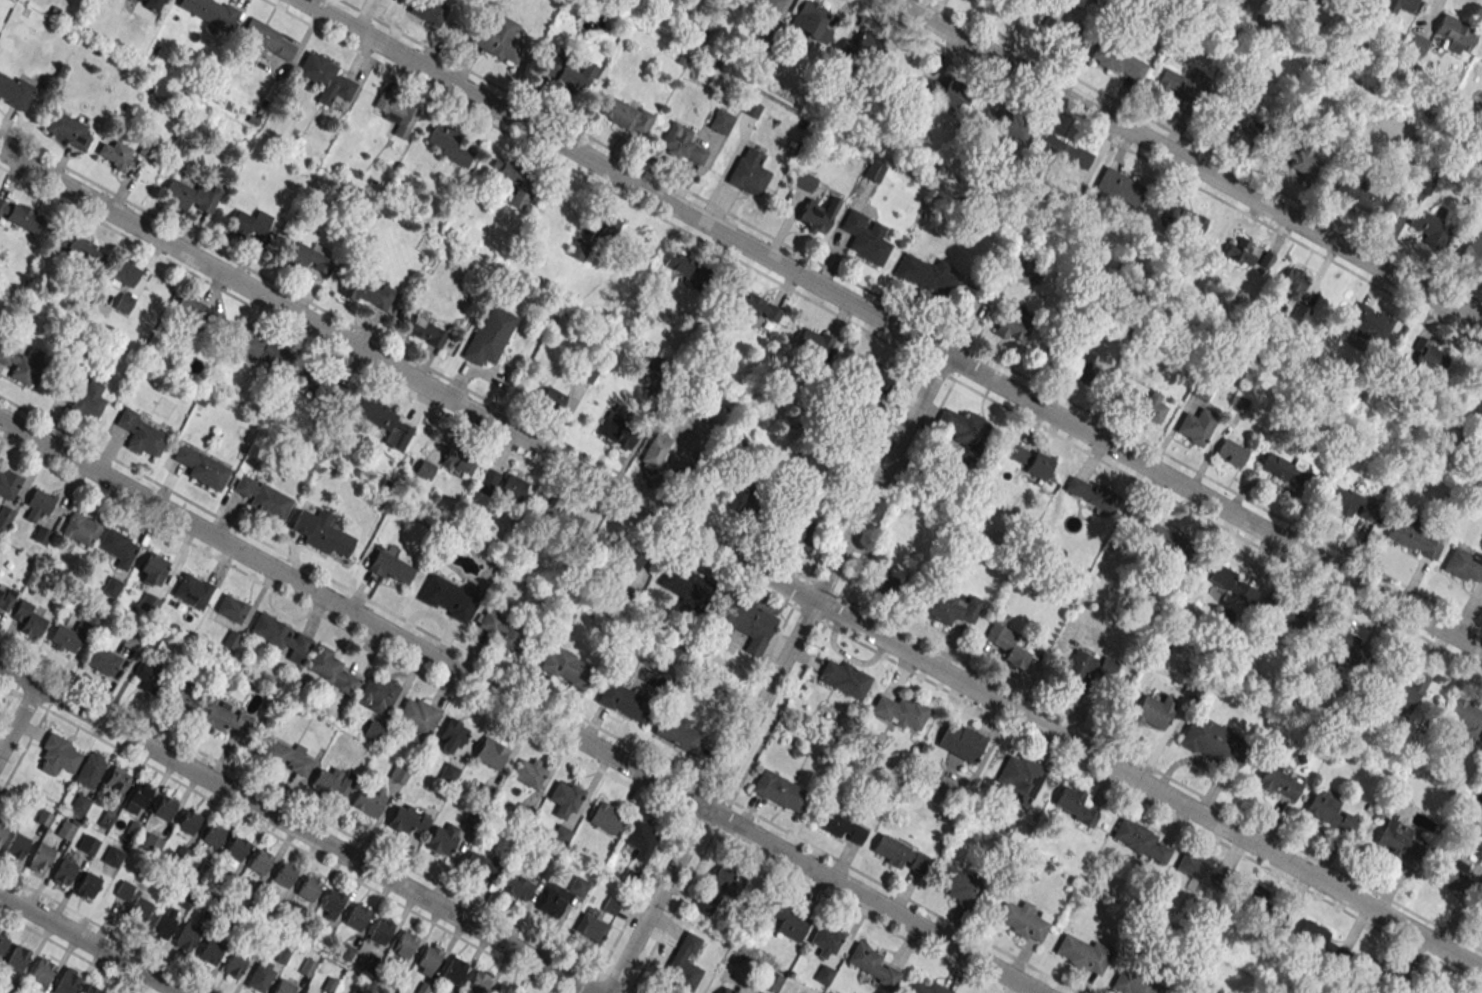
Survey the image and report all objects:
building: (1373, 0)
road: (1479, 1)
building: (153, 4)
building: (769, 5)
building: (1397, 7)
building: (428, 11)
building: (210, 12)
building: (811, 21)
building: (1060, 26)
building: (1456, 35)
building: (496, 37)
building: (267, 38)
building: (1417, 45)
building: (860, 50)
building: (1116, 59)
building: (566, 71)
building: (324, 77)
building: (1180, 86)
building: (14, 91)
building: (950, 92)
building: (395, 113)
building: (626, 115)
building: (1220, 115)
building: (720, 121)
building: (1005, 124)
building: (65, 128)
building: (1242, 129)
building: (682, 143)
building: (449, 144)
building: (147, 148)
road: (1208, 150)
building: (1060, 151)
building: (115, 154)
road: (1189, 161)
road: (1170, 171)
building: (747, 172)
building: (512, 179)
road: (593, 180)
building: (803, 181)
building: (1422, 183)
building: (1119, 187)
building: (189, 194)
building: (1356, 195)
building: (817, 214)
building: (21, 216)
building: (1183, 219)
building: (250, 223)
building: (606, 228)
building: (1427, 228)
building: (865, 238)
building: (578, 250)
building: (83, 251)
building: (1239, 251)
building: (1472, 251)
building: (310, 257)
building: (680, 264)
building: (126, 273)
building: (925, 275)
building: (1292, 283)
building: (368, 291)
building: (124, 302)
building: (755, 306)
building: (195, 311)
road: (911, 314)
building: (1368, 323)
road: (891, 324)
building: (1013, 326)
building: (424, 329)
building: (489, 336)
building: (814, 342)
building: (261, 349)
building: (1429, 354)
building: (22, 363)
road: (419, 363)
building: (1079, 364)
building: (586, 372)
building: (320, 381)
road: (395, 386)
building: (1480, 388)
building: (871, 389)
building: (1201, 389)
building: (79, 396)
building: (551, 397)
building: (1144, 403)
building: (386, 423)
building: (1196, 426)
building: (618, 430)
building: (963, 431)
building: (142, 434)
building: (655, 449)
building: (1231, 453)
building: (457, 462)
building: (1033, 462)
building: (200, 466)
building: (1289, 468)
building: (728, 478)
building: (486, 481)
building: (7, 483)
road: (857, 483)
building: (513, 488)
building: (1091, 495)
building: (261, 497)
building: (1340, 500)
building: (37, 505)
building: (5, 514)
building: (563, 516)
road: (1201, 516)
building: (80, 530)
building: (320, 531)
building: (40, 533)
building: (801, 534)
building: (1413, 538)
building: (1166, 539)
building: (118, 547)
building: (877, 557)
road: (741, 559)
building: (626, 561)
building: (1463, 565)
building: (390, 568)
building: (152, 569)
building: (1226, 580)
building: (111, 585)
building: (887, 585)
building: (686, 587)
road: (348, 589)
building: (191, 591)
building: (446, 596)
building: (6, 597)
building: (147, 602)
building: (949, 608)
building: (230, 616)
building: (30, 619)
building: (741, 622)
building: (503, 630)
building: (279, 636)
building: (151, 637)
building: (130, 638)
building: (64, 640)
building: (1012, 645)
building: (1343, 646)
building: (102, 660)
building: (565, 666)
building: (1106, 668)
building: (1075, 670)
building: (331, 671)
road: (776, 673)
building: (843, 677)
building: (148, 678)
road: (7, 687)
building: (1405, 690)
road: (17, 692)
building: (378, 694)
building: (182, 699)
building: (624, 700)
road: (519, 705)
building: (898, 710)
building: (1155, 710)
road: (776, 711)
road: (1053, 714)
building: (418, 715)
road: (501, 715)
building: (1465, 717)
road: (19, 718)
building: (226, 718)
building: (373, 731)
building: (676, 732)
building: (450, 734)
building: (958, 741)
building: (1213, 742)
road: (23, 749)
building: (490, 753)
building: (59, 756)
building: (287, 756)
road: (709, 758)
building: (90, 769)
building: (527, 772)
building: (448, 773)
building: (1019, 774)
building: (117, 779)
building: (1279, 782)
building: (941, 787)
building: (777, 789)
building: (565, 794)
building: (138, 798)
building: (367, 802)
building: (79, 804)
road: (1152, 805)
building: (1074, 806)
building: (164, 807)
road: (308, 812)
building: (1329, 812)
building: (605, 817)
building: (407, 819)
building: (188, 822)
road: (298, 827)
building: (841, 827)
building: (2, 829)
building: (66, 829)
building: (212, 835)
building: (561, 835)
building: (640, 836)
building: (1138, 839)
building: (1395, 840)
building: (442, 842)
building: (151, 843)
road: (807, 843)
building: (87, 844)
building: (16, 845)
building: (236, 848)
road: (303, 850)
building: (899, 853)
building: (112, 856)
building: (40, 858)
building: (259, 862)
building: (480, 865)
building: (1198, 869)
building: (64, 872)
building: (1450, 874)
building: (284, 875)
building: (88, 885)
building: (517, 885)
building: (959, 885)
building: (308, 888)
building: (717, 889)
building: (123, 890)
building: (560, 896)
building: (1256, 897)
building: (333, 902)
building: (139, 909)
building: (1259, 915)
building: (356, 917)
building: (780, 917)
building: (1020, 919)
building: (161, 926)
building: (591, 926)
road: (109, 931)
building: (381, 931)
building: (186, 937)
building: (1320, 938)
building: (825, 940)
building: (2, 942)
road: (89, 943)
building: (405, 944)
building: (210, 951)
building: (346, 951)
road: (72, 952)
building: (1081, 952)
building: (282, 955)
building: (17, 958)
building: (428, 958)
building: (683, 962)
building: (235, 963)
building: (870, 964)
building: (307, 967)
building: (42, 970)
building: (453, 970)
building: (1375, 970)
building: (824, 974)
building: (260, 978)
building: (392, 979)
building: (67, 981)
building: (771, 981)
building: (477, 982)
building: (1133, 982)
building: (329, 984)
building: (283, 987)
building: (423, 987)
building: (924, 987)
building: (92, 989)
building: (503, 989)
building: (354, 991)
road: (631, 991)
building: (304, 992)
building: (437, 992)

